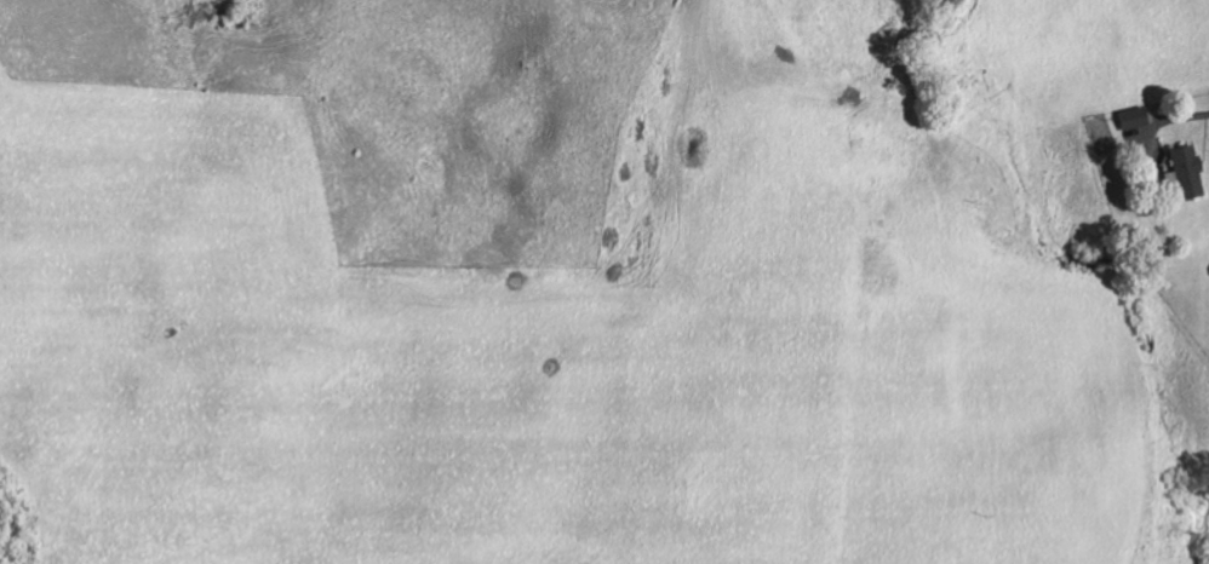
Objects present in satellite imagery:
building: (1128, 119)
building: (1178, 174)

